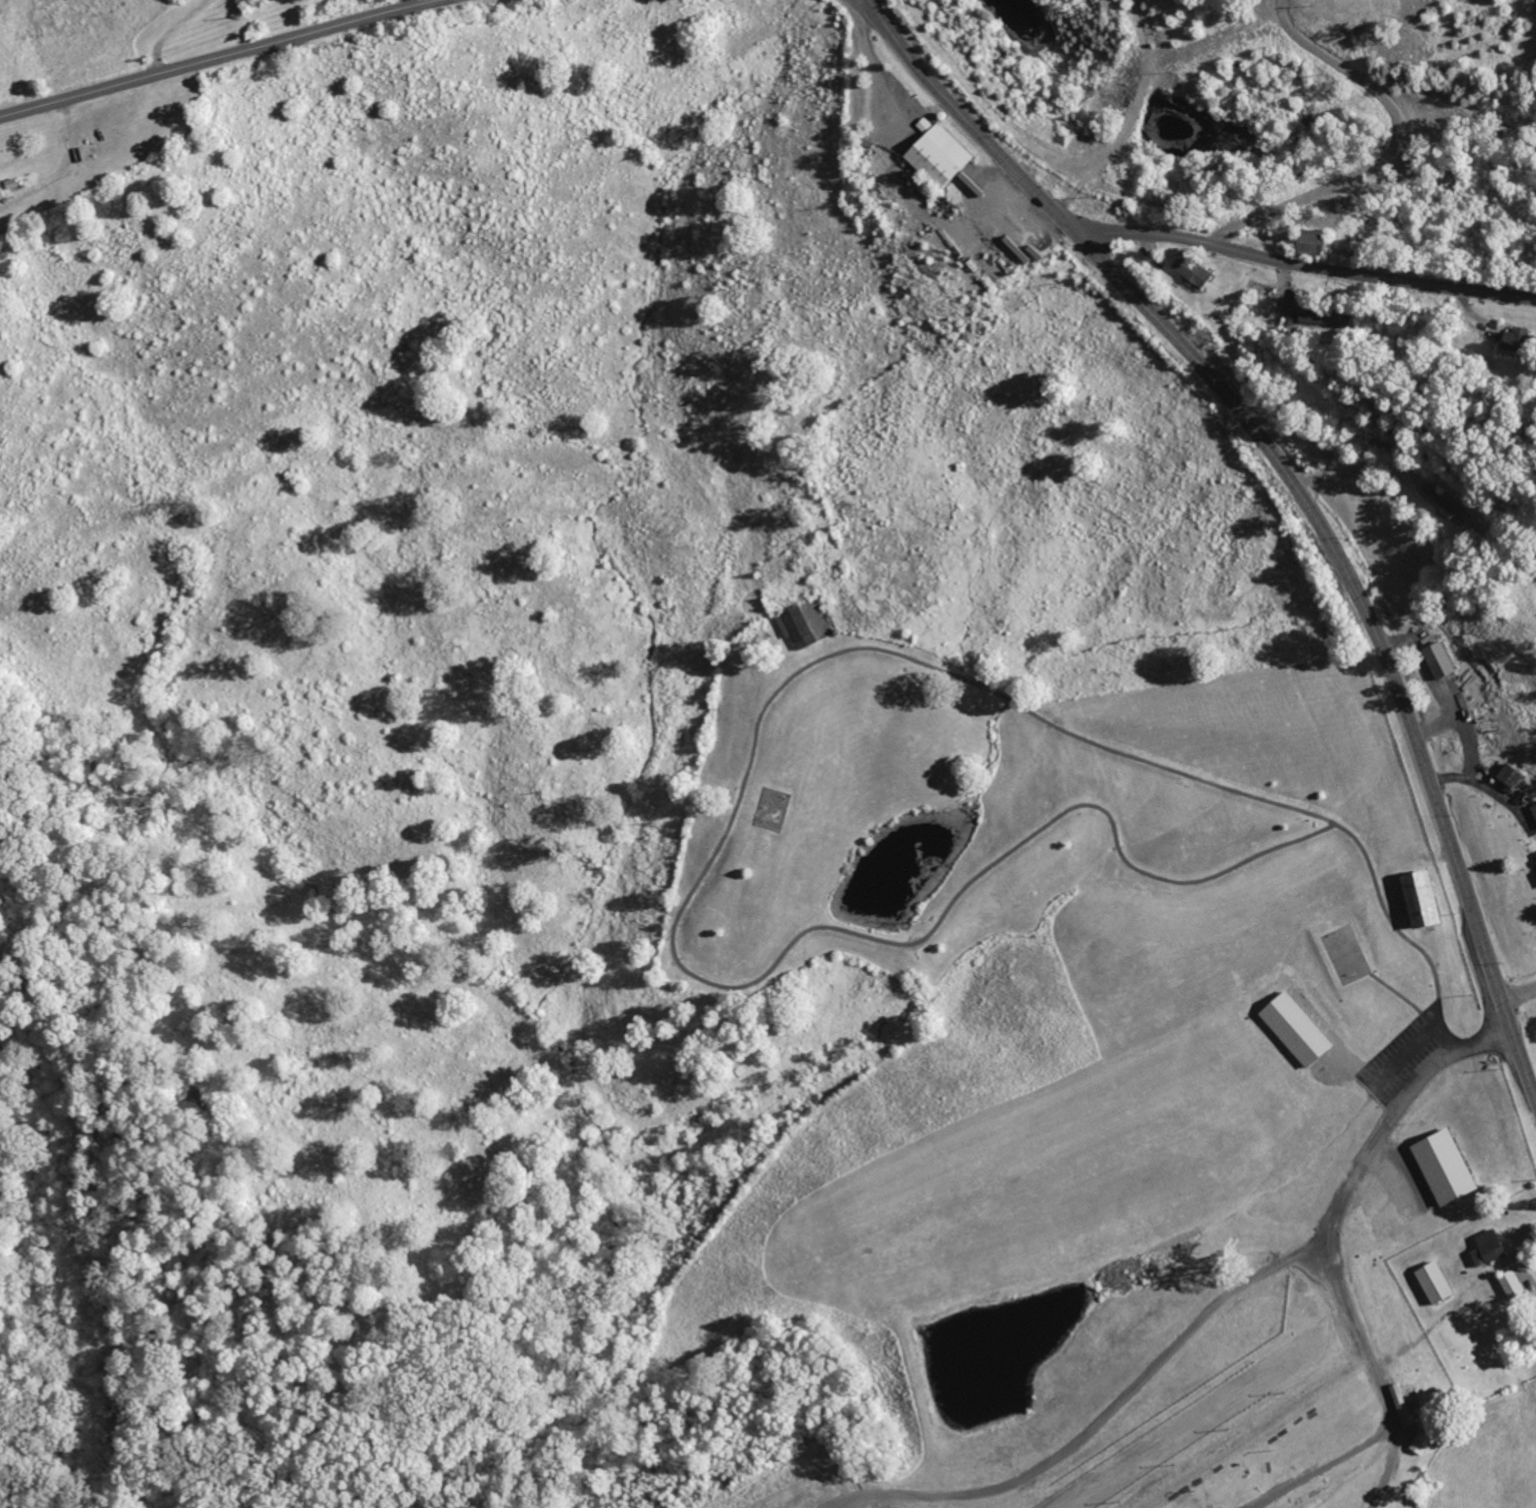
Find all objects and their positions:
road: (170, 30)
road: (221, 57)
road: (870, 61)
road: (965, 120)
building: (934, 154)
building: (4, 190)
road: (100, 229)
building: (1305, 244)
building: (1010, 251)
building: (1002, 264)
road: (1303, 266)
building: (1189, 272)
building: (1513, 340)
building: (793, 626)
road: (1373, 627)
building: (1436, 659)
road: (1013, 703)
building: (1504, 775)
building: (1533, 811)
road: (1000, 855)
building: (1534, 862)
building: (1416, 898)
park: (1052, 940)
road: (2, 1002)
building: (1291, 1028)
road: (1391, 1116)
building: (1441, 1166)
building: (1486, 1248)
building: (1431, 1282)
building: (1509, 1284)
road: (1377, 1376)
road: (1098, 1423)

